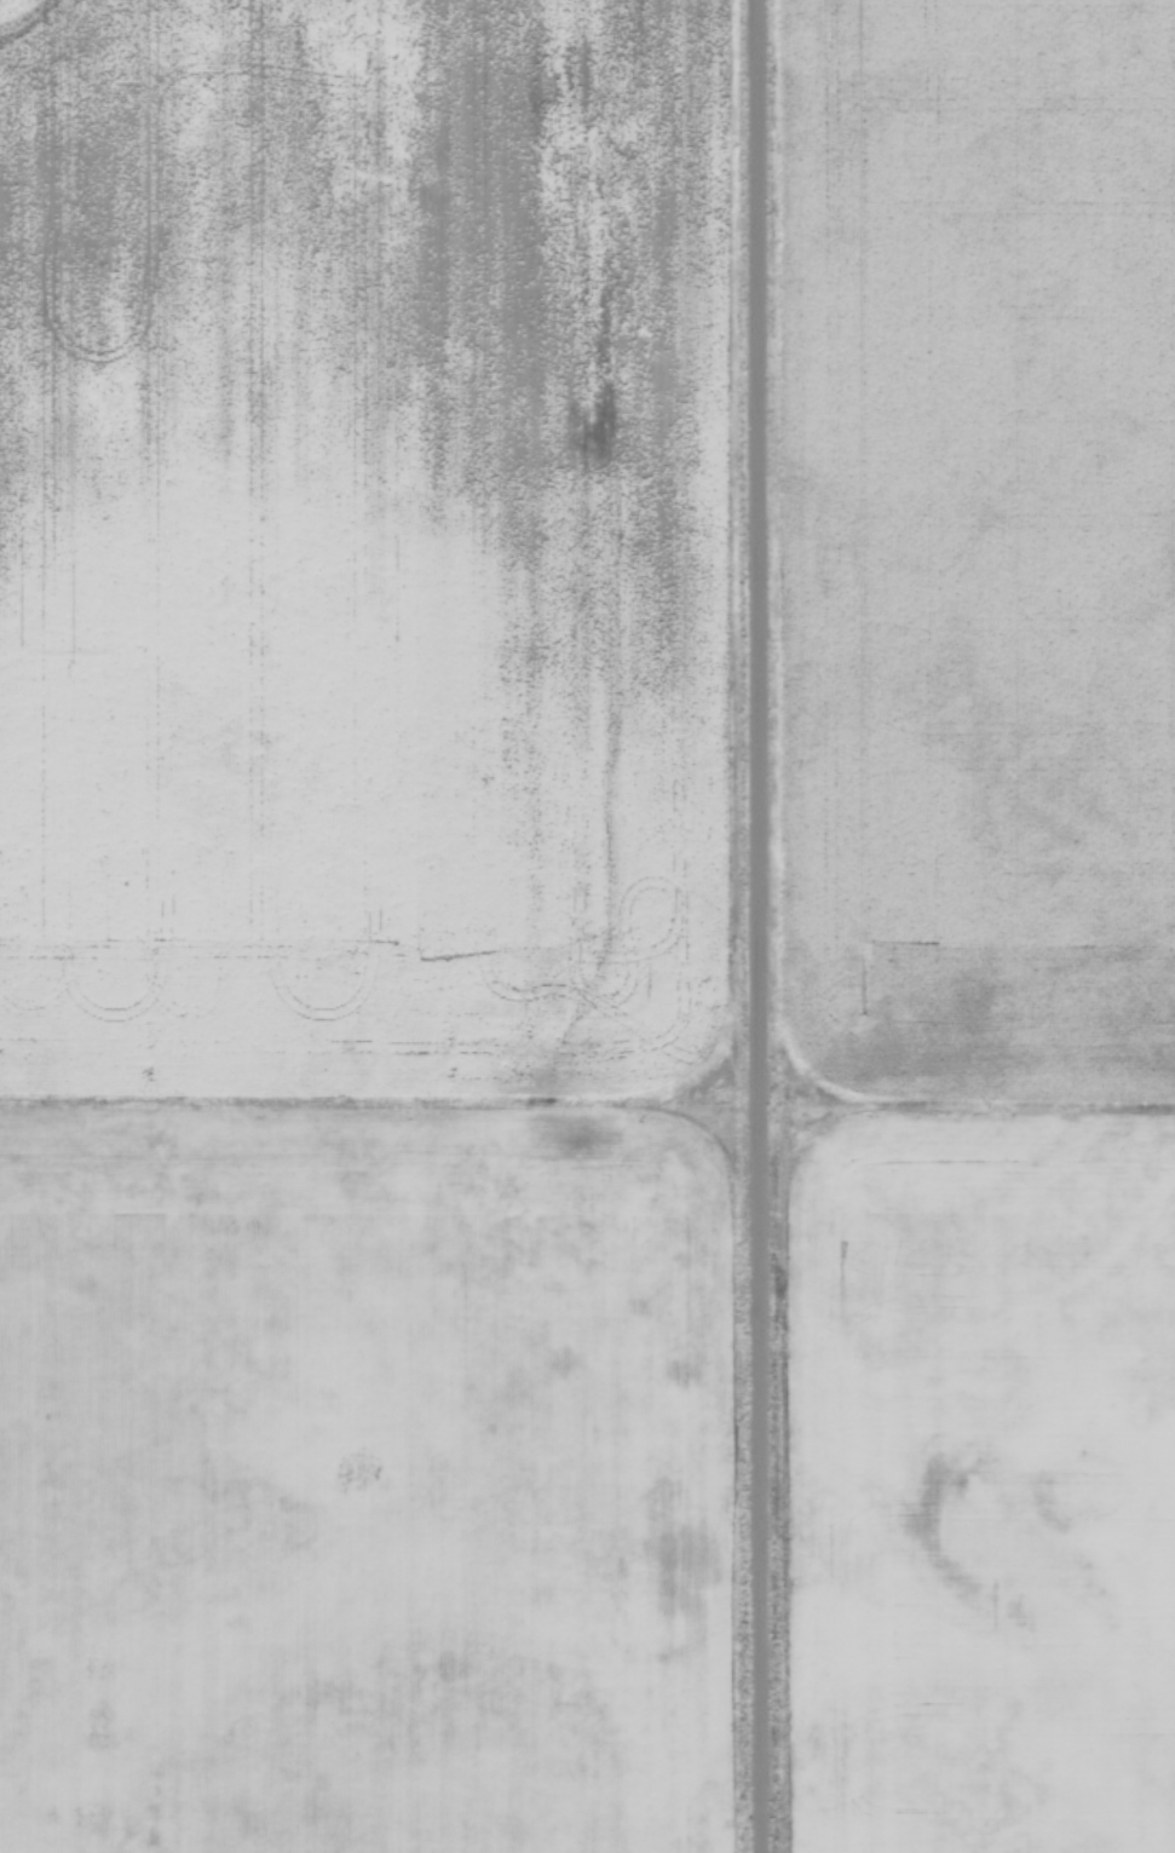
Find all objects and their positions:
road: (756, 926)

